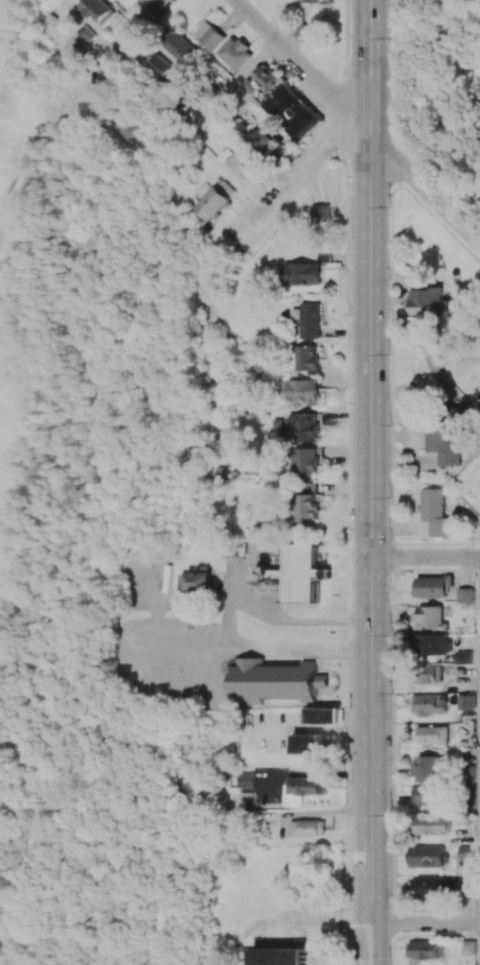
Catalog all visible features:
building: (309, 1)
building: (99, 10)
road: (140, 28)
building: (303, 31)
building: (209, 35)
building: (81, 40)
building: (181, 48)
building: (236, 53)
road: (302, 65)
building: (162, 68)
building: (266, 76)
building: (292, 112)
building: (123, 128)
building: (267, 144)
building: (237, 167)
road: (290, 178)
road: (425, 185)
building: (217, 199)
building: (321, 213)
building: (302, 273)
building: (429, 302)
park: (23, 320)
building: (310, 321)
building: (307, 358)
building: (303, 391)
building: (307, 427)
building: (445, 444)
building: (307, 463)
road: (370, 482)
building: (306, 504)
building: (435, 512)
traffic signals: (370, 557)
road: (425, 557)
building: (304, 573)
park: (102, 574)
building: (196, 580)
building: (434, 586)
building: (466, 596)
road: (277, 618)
building: (431, 618)
building: (432, 644)
road: (253, 645)
building: (464, 657)
building: (429, 674)
building: (276, 680)
building: (467, 702)
building: (429, 705)
building: (321, 715)
building: (429, 734)
building: (307, 744)
building: (428, 767)
building: (246, 782)
building: (302, 789)
building: (426, 794)
building: (434, 825)
building: (307, 827)
building: (429, 856)
building: (443, 885)
road: (425, 922)
building: (469, 947)
building: (425, 949)
building: (280, 956)
road: (3, 959)

